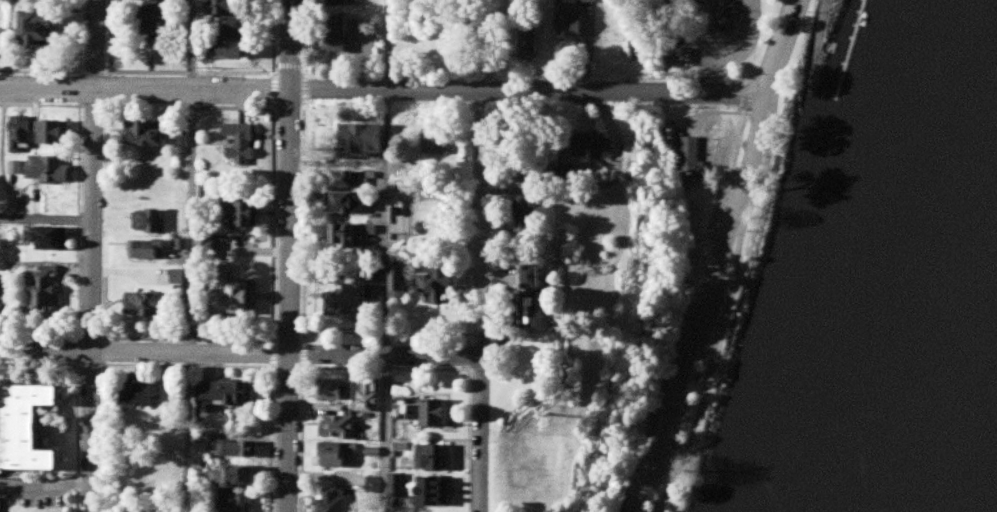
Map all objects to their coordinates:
building: (337, 3)
building: (233, 7)
building: (162, 20)
building: (574, 20)
building: (238, 27)
building: (43, 30)
park: (716, 32)
building: (340, 35)
building: (535, 44)
road: (706, 46)
road: (748, 47)
building: (236, 50)
building: (685, 50)
road: (815, 67)
road: (144, 88)
road: (384, 90)
road: (623, 92)
building: (58, 134)
building: (21, 135)
building: (147, 136)
building: (371, 142)
building: (245, 145)
building: (442, 145)
building: (594, 147)
building: (693, 162)
building: (50, 171)
building: (526, 178)
building: (357, 181)
road: (598, 189)
building: (354, 205)
building: (244, 215)
building: (532, 217)
building: (151, 223)
road: (480, 224)
building: (356, 238)
building: (56, 241)
building: (149, 252)
road: (93, 256)
road: (288, 256)
road: (741, 256)
road: (724, 257)
park: (745, 265)
building: (178, 278)
building: (537, 278)
building: (404, 284)
building: (443, 287)
building: (48, 292)
building: (239, 299)
building: (352, 304)
building: (153, 306)
building: (5, 310)
building: (541, 313)
road: (241, 354)
river: (940, 364)
building: (334, 391)
building: (227, 394)
building: (143, 397)
building: (371, 397)
building: (426, 415)
building: (340, 428)
building: (36, 431)
road: (483, 435)
building: (240, 451)
building: (334, 456)
building: (436, 458)
building: (3, 459)
park: (539, 473)
building: (238, 478)
building: (399, 485)
building: (436, 491)
building: (336, 500)
building: (238, 504)
building: (3, 511)

